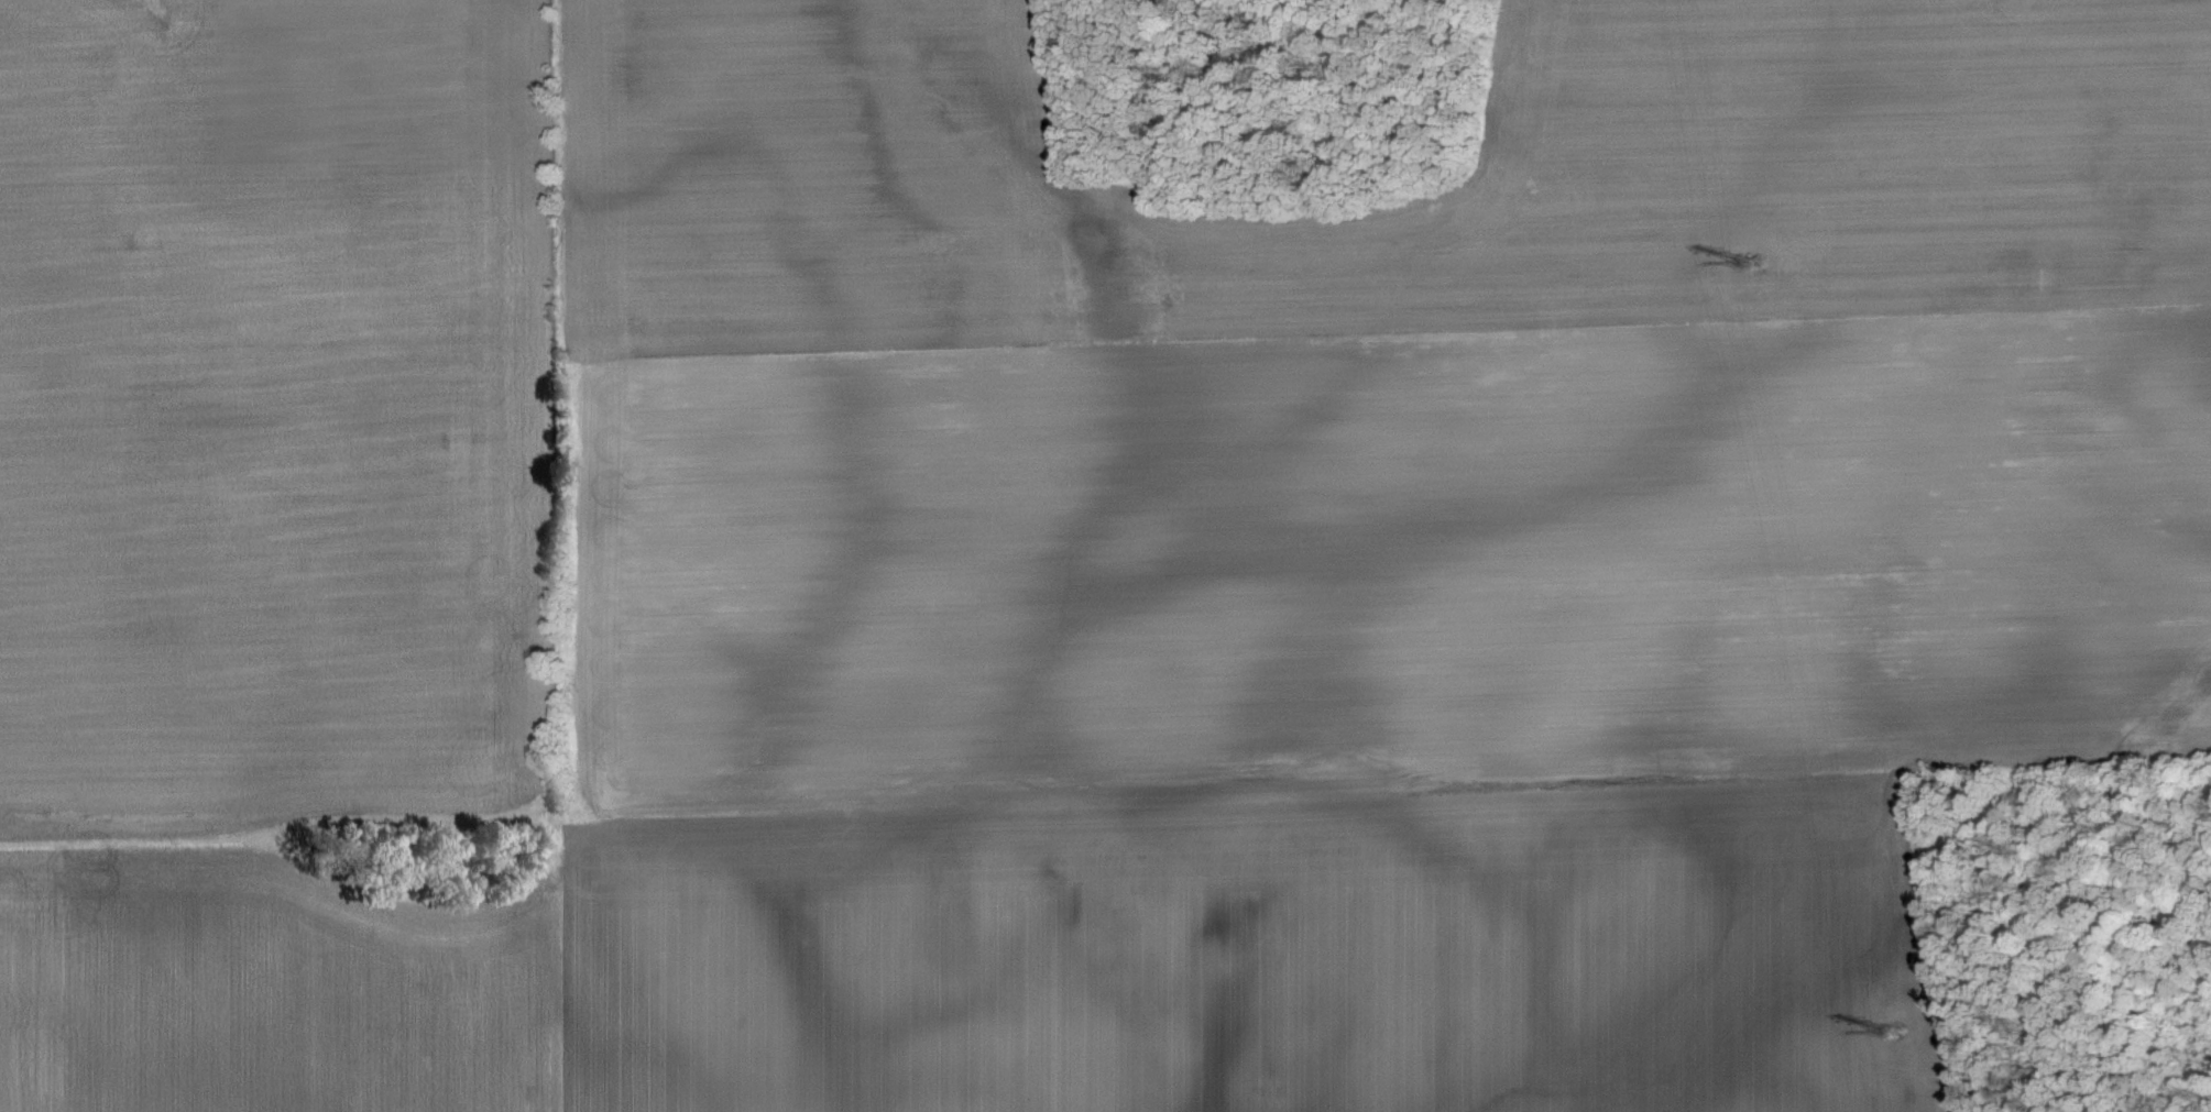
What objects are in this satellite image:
power tower: (1756, 260)
power tower: (1895, 1025)

